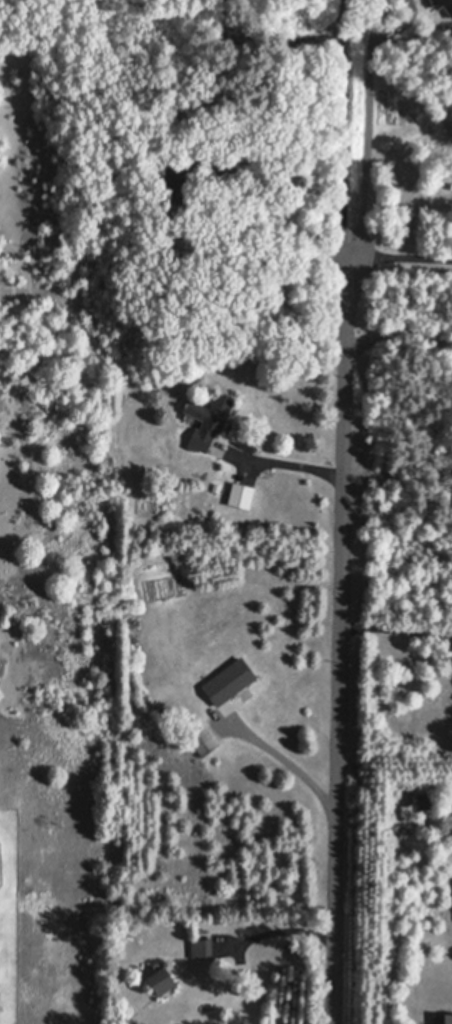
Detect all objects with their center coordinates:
building: (442, 6)
building: (179, 179)
building: (225, 179)
road: (401, 259)
building: (129, 303)
building: (214, 354)
building: (179, 393)
building: (209, 419)
road: (280, 464)
building: (217, 487)
building: (242, 494)
building: (130, 617)
road: (340, 638)
building: (229, 680)
building: (202, 741)
road: (291, 764)
building: (428, 803)
building: (202, 949)
building: (161, 981)
building: (443, 1020)

